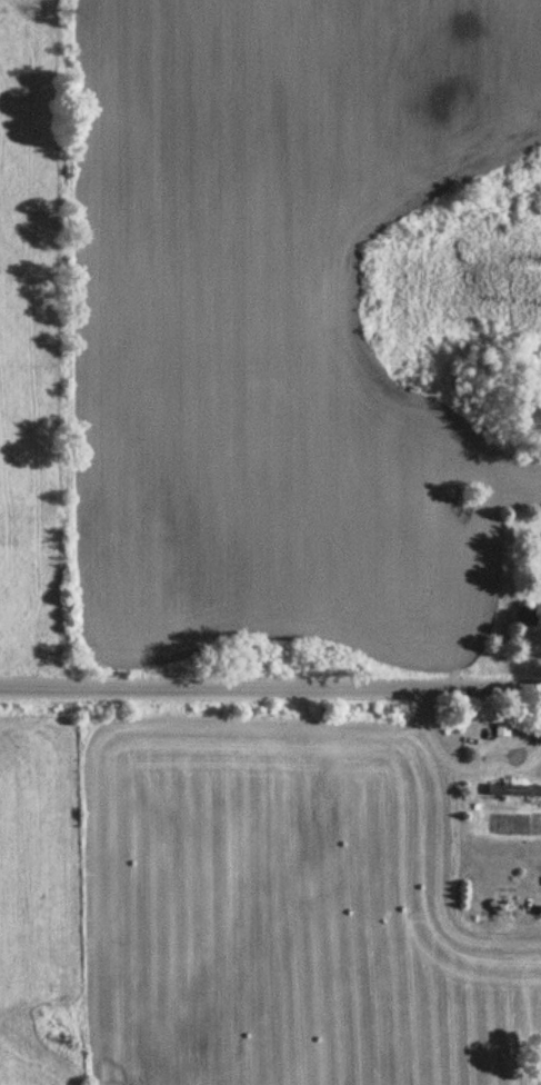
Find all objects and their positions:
building: (523, 617)
road: (270, 694)
building: (500, 727)
building: (512, 790)

